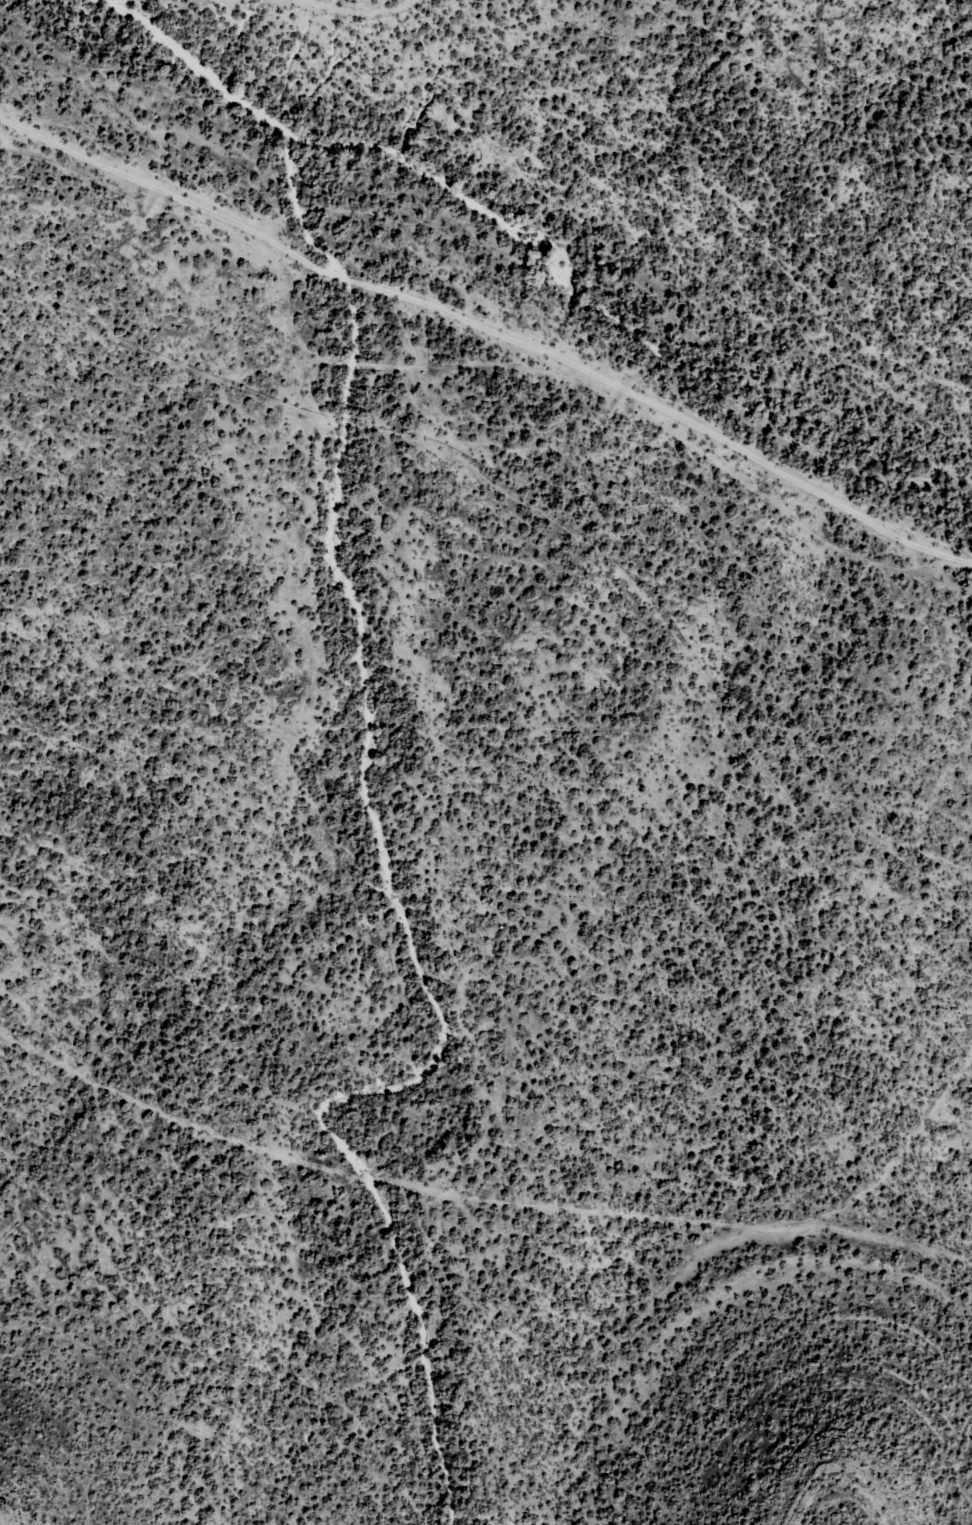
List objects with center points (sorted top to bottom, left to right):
road: (485, 379)
road: (701, 724)

